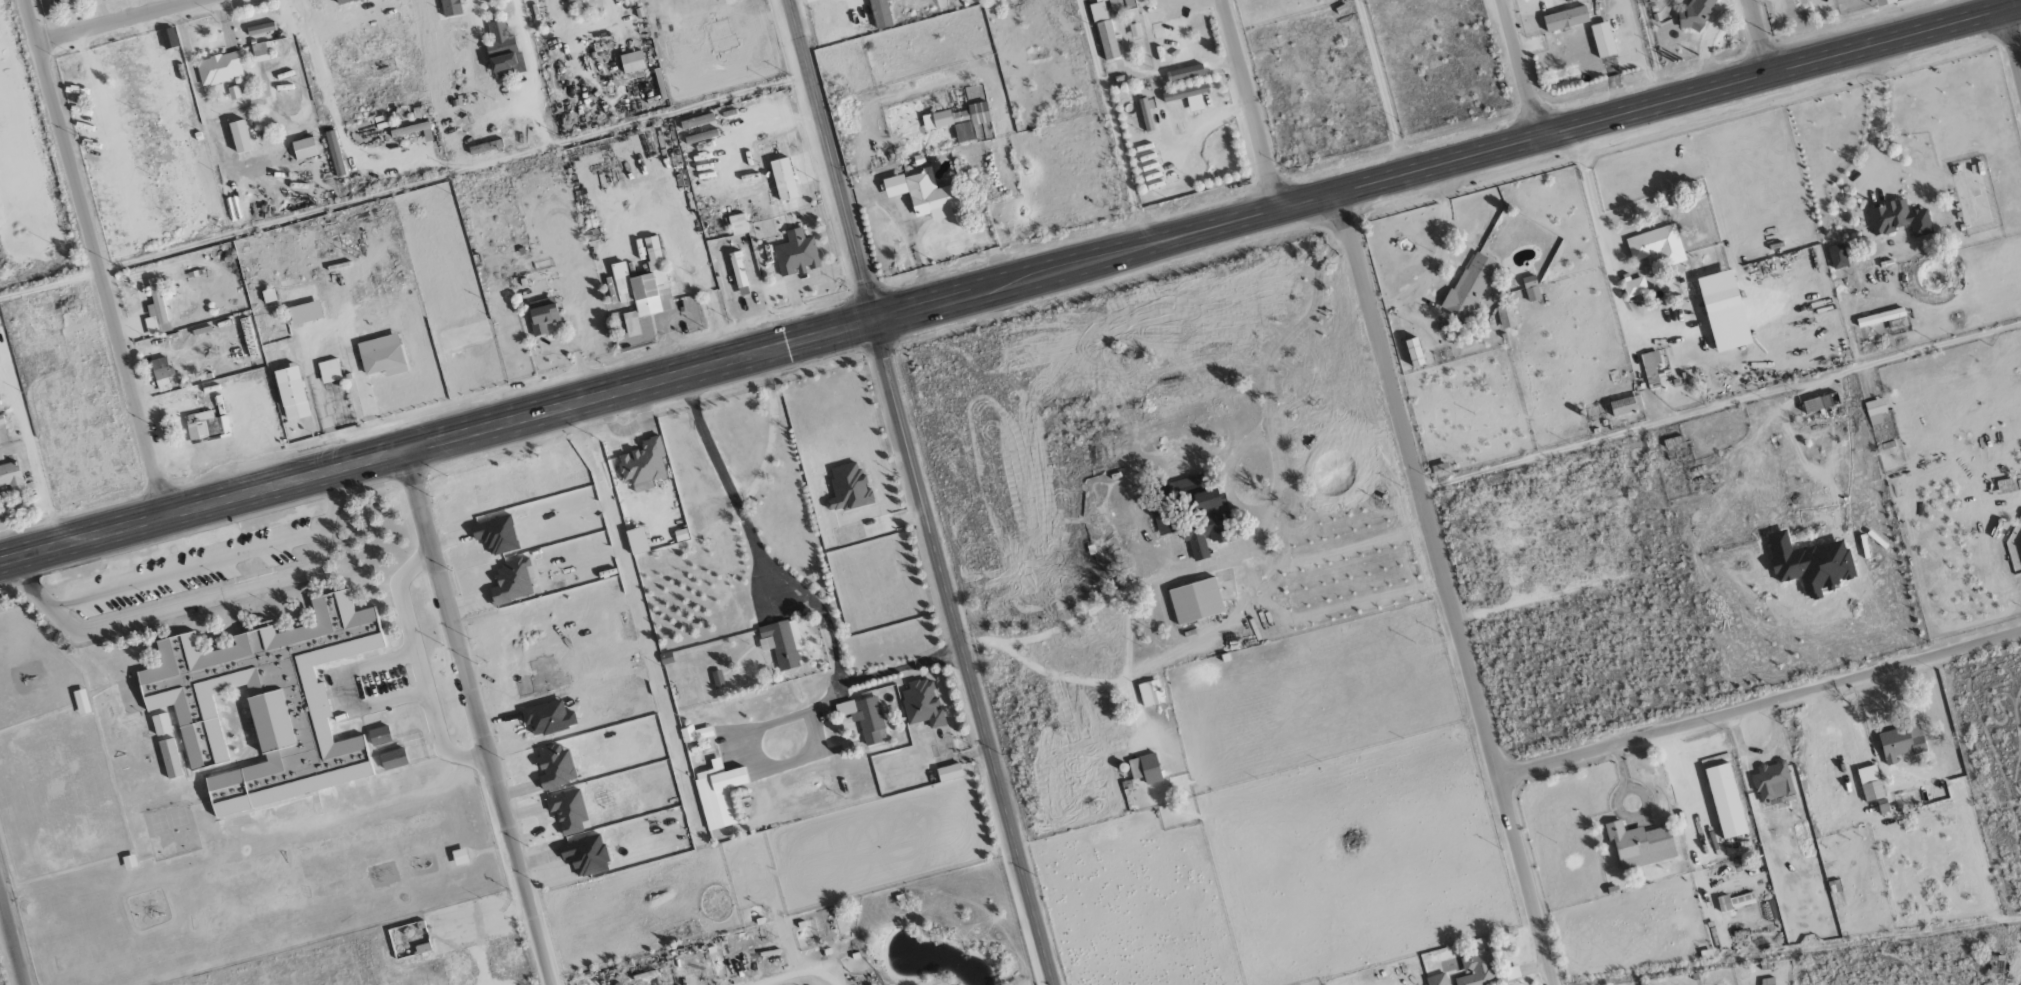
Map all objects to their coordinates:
building: (565, 0)
building: (960, 0)
building: (342, 1)
building: (97, 2)
building: (450, 7)
building: (66, 9)
building: (1097, 10)
building: (879, 13)
building: (1695, 14)
building: (1565, 18)
road: (113, 21)
road: (2017, 35)
road: (1760, 37)
building: (168, 38)
building: (1602, 39)
building: (1107, 40)
building: (502, 51)
building: (259, 52)
building: (631, 62)
building: (220, 68)
road: (1520, 69)
building: (1185, 72)
road: (1382, 87)
building: (233, 92)
building: (1188, 96)
road: (1250, 105)
building: (1146, 113)
building: (962, 120)
building: (239, 136)
building: (304, 148)
building: (334, 153)
building: (783, 179)
building: (922, 193)
building: (1898, 219)
building: (737, 224)
building: (1656, 244)
road: (1441, 249)
building: (796, 253)
building: (1837, 256)
road: (93, 259)
building: (737, 269)
road: (1010, 284)
building: (1469, 285)
building: (643, 287)
building: (1634, 287)
building: (1531, 288)
building: (1718, 292)
building: (302, 303)
building: (155, 311)
building: (542, 315)
building: (1506, 317)
building: (1880, 317)
building: (1413, 352)
building: (381, 356)
building: (1650, 368)
building: (329, 371)
building: (161, 373)
building: (291, 393)
building: (1817, 404)
building: (1625, 405)
road: (1720, 409)
building: (1875, 410)
building: (205, 426)
building: (642, 461)
building: (1440, 470)
building: (9, 474)
building: (847, 487)
road: (919, 492)
building: (1161, 523)
building: (1206, 523)
building: (2020, 529)
building: (1809, 564)
road: (1446, 589)
road: (197, 600)
building: (1195, 600)
building: (781, 642)
road: (419, 664)
building: (717, 678)
building: (1150, 693)
building: (922, 703)
building: (266, 705)
road: (1760, 706)
building: (864, 716)
road: (478, 717)
building: (695, 733)
building: (379, 735)
building: (1902, 743)
building: (393, 758)
building: (554, 766)
building: (1144, 768)
building: (948, 772)
building: (1772, 781)
building: (1869, 782)
building: (718, 793)
building: (1725, 800)
building: (568, 811)
building: (1639, 844)
building: (585, 855)
building: (1734, 901)
road: (12, 939)
building: (1483, 971)
building: (1436, 979)

